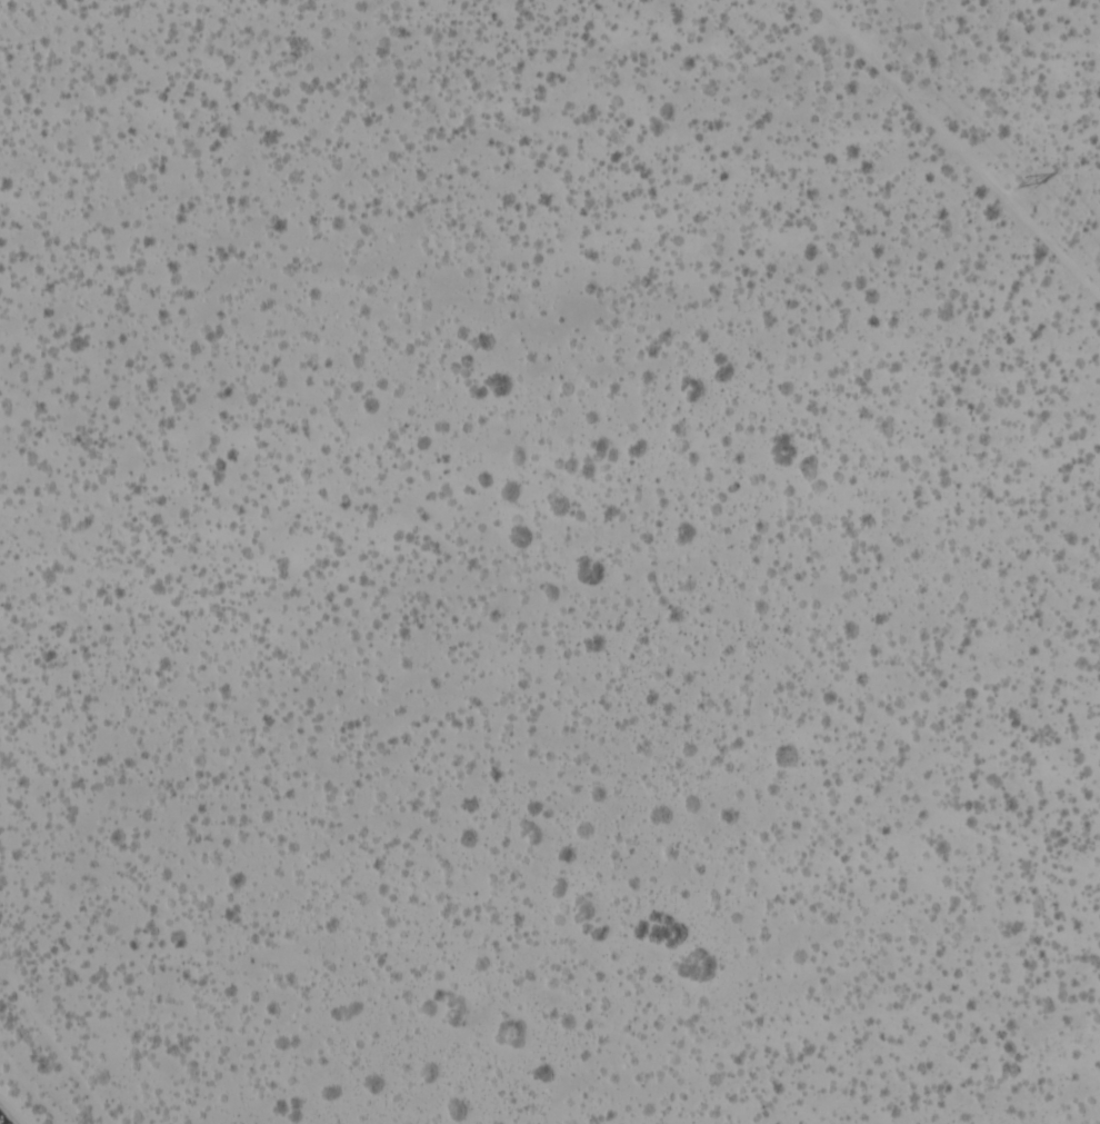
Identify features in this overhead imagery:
road: (961, 147)
power tower: (1013, 179)
road: (61, 1050)
road: (1, 1122)

